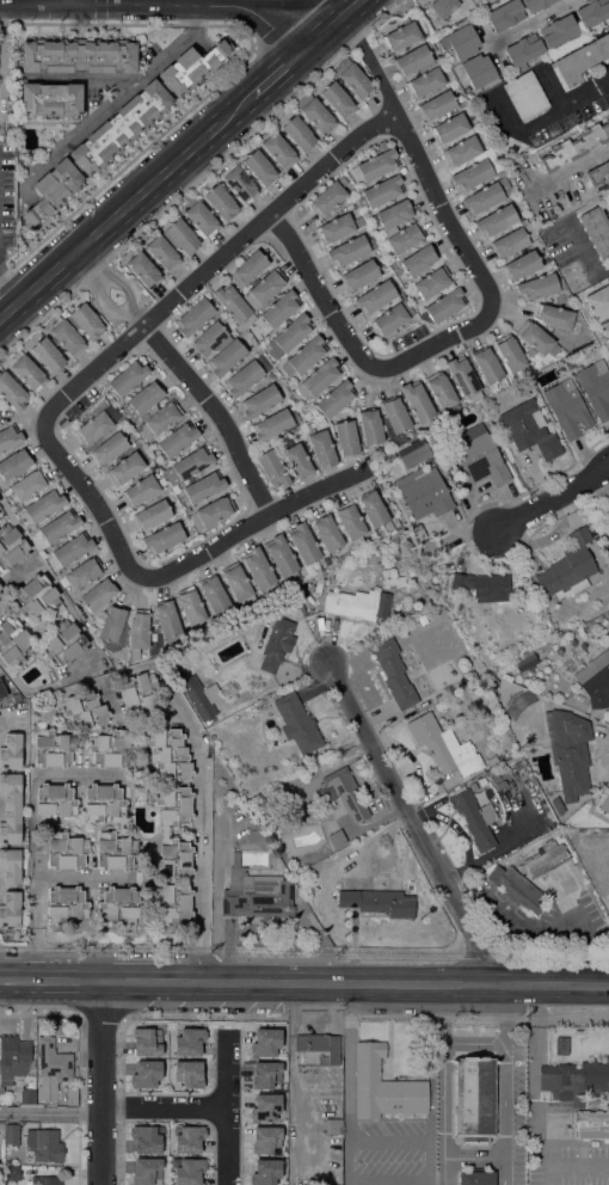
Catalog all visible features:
road: (68, 2)
building: (535, 4)
road: (110, 5)
building: (444, 7)
building: (592, 13)
building: (505, 14)
road: (270, 17)
road: (339, 22)
road: (530, 23)
building: (558, 31)
building: (400, 37)
building: (523, 51)
building: (462, 54)
building: (79, 56)
building: (412, 59)
building: (582, 59)
building: (191, 67)
road: (285, 69)
building: (353, 78)
road: (87, 79)
building: (425, 82)
building: (525, 94)
building: (50, 98)
road: (118, 98)
building: (337, 99)
road: (573, 102)
building: (437, 105)
building: (315, 113)
building: (121, 127)
building: (449, 128)
building: (299, 134)
building: (574, 146)
building: (278, 149)
building: (461, 151)
building: (375, 165)
building: (259, 167)
road: (573, 167)
building: (598, 173)
building: (472, 174)
building: (240, 184)
building: (53, 190)
building: (380, 191)
building: (486, 196)
building: (328, 197)
building: (221, 202)
road: (127, 205)
building: (393, 214)
building: (202, 219)
building: (496, 220)
building: (336, 228)
building: (596, 229)
building: (405, 238)
building: (510, 242)
building: (172, 244)
road: (228, 251)
building: (347, 251)
building: (419, 259)
building: (522, 265)
road: (91, 266)
building: (395, 266)
building: (248, 268)
road: (603, 269)
building: (143, 270)
building: (359, 275)
building: (432, 282)
road: (101, 287)
building: (539, 287)
building: (264, 288)
road: (4, 289)
building: (374, 296)
building: (598, 302)
building: (445, 305)
building: (234, 306)
building: (277, 311)
building: (193, 317)
building: (554, 317)
building: (389, 319)
building: (425, 320)
road: (482, 321)
building: (61, 330)
building: (604, 332)
building: (289, 336)
building: (208, 337)
building: (537, 339)
building: (510, 352)
building: (48, 355)
building: (303, 356)
building: (226, 357)
building: (486, 364)
building: (26, 373)
building: (128, 376)
building: (242, 377)
building: (319, 377)
building: (463, 377)
building: (595, 387)
building: (12, 392)
building: (442, 393)
building: (334, 398)
building: (263, 399)
building: (417, 400)
road: (210, 404)
building: (567, 409)
building: (167, 411)
building: (395, 413)
building: (63, 423)
building: (275, 423)
building: (97, 424)
building: (369, 428)
building: (528, 429)
building: (10, 437)
building: (346, 437)
building: (177, 438)
building: (320, 447)
building: (109, 448)
building: (414, 452)
building: (389, 454)
building: (479, 455)
road: (61, 459)
building: (296, 460)
building: (14, 463)
building: (187, 465)
building: (124, 468)
building: (272, 469)
building: (27, 484)
building: (201, 489)
building: (140, 491)
building: (424, 492)
road: (553, 501)
building: (0, 505)
building: (44, 505)
building: (0, 508)
building: (373, 509)
building: (211, 511)
building: (152, 514)
building: (350, 523)
building: (55, 530)
building: (327, 533)
building: (417, 533)
building: (162, 538)
road: (223, 542)
building: (303, 542)
building: (11, 546)
building: (69, 551)
building: (282, 558)
building: (568, 569)
building: (259, 571)
building: (82, 572)
building: (238, 584)
building: (484, 585)
building: (0, 587)
building: (98, 594)
building: (214, 594)
building: (36, 596)
building: (357, 603)
building: (190, 606)
building: (432, 612)
building: (166, 618)
building: (422, 620)
building: (112, 628)
building: (139, 630)
road: (86, 633)
building: (12, 641)
building: (63, 643)
building: (271, 643)
building: (525, 662)
building: (393, 671)
building: (595, 680)
building: (491, 681)
building: (1, 690)
building: (137, 693)
building: (201, 699)
building: (84, 710)
building: (297, 723)
building: (219, 736)
building: (443, 745)
building: (53, 748)
building: (110, 749)
building: (11, 750)
building: (568, 750)
road: (32, 784)
building: (139, 791)
building: (343, 792)
building: (54, 802)
building: (103, 802)
road: (202, 803)
building: (558, 805)
building: (11, 808)
building: (478, 817)
building: (171, 822)
building: (247, 822)
road: (412, 823)
building: (295, 828)
building: (559, 831)
building: (337, 837)
building: (66, 851)
building: (115, 851)
building: (10, 865)
building: (527, 872)
road: (42, 874)
building: (256, 895)
building: (379, 902)
building: (64, 903)
building: (118, 904)
building: (10, 908)
road: (33, 954)
road: (201, 956)
road: (49, 983)
road: (353, 986)
road: (510, 1014)
road: (476, 1040)
building: (146, 1042)
building: (189, 1042)
building: (265, 1042)
building: (319, 1046)
building: (13, 1056)
road: (443, 1057)
building: (51, 1063)
building: (189, 1073)
building: (146, 1074)
building: (265, 1074)
building: (573, 1080)
road: (99, 1085)
building: (383, 1086)
building: (27, 1095)
building: (474, 1099)
road: (192, 1105)
building: (265, 1106)
road: (49, 1111)
road: (507, 1113)
building: (333, 1125)
building: (591, 1125)
building: (11, 1134)
building: (146, 1138)
building: (189, 1138)
building: (265, 1138)
building: (43, 1144)
road: (222, 1144)
road: (443, 1158)
road: (474, 1159)
building: (146, 1171)
building: (189, 1171)
building: (265, 1171)
building: (12, 1173)
building: (475, 1178)
building: (45, 1180)
road: (351, 1181)

